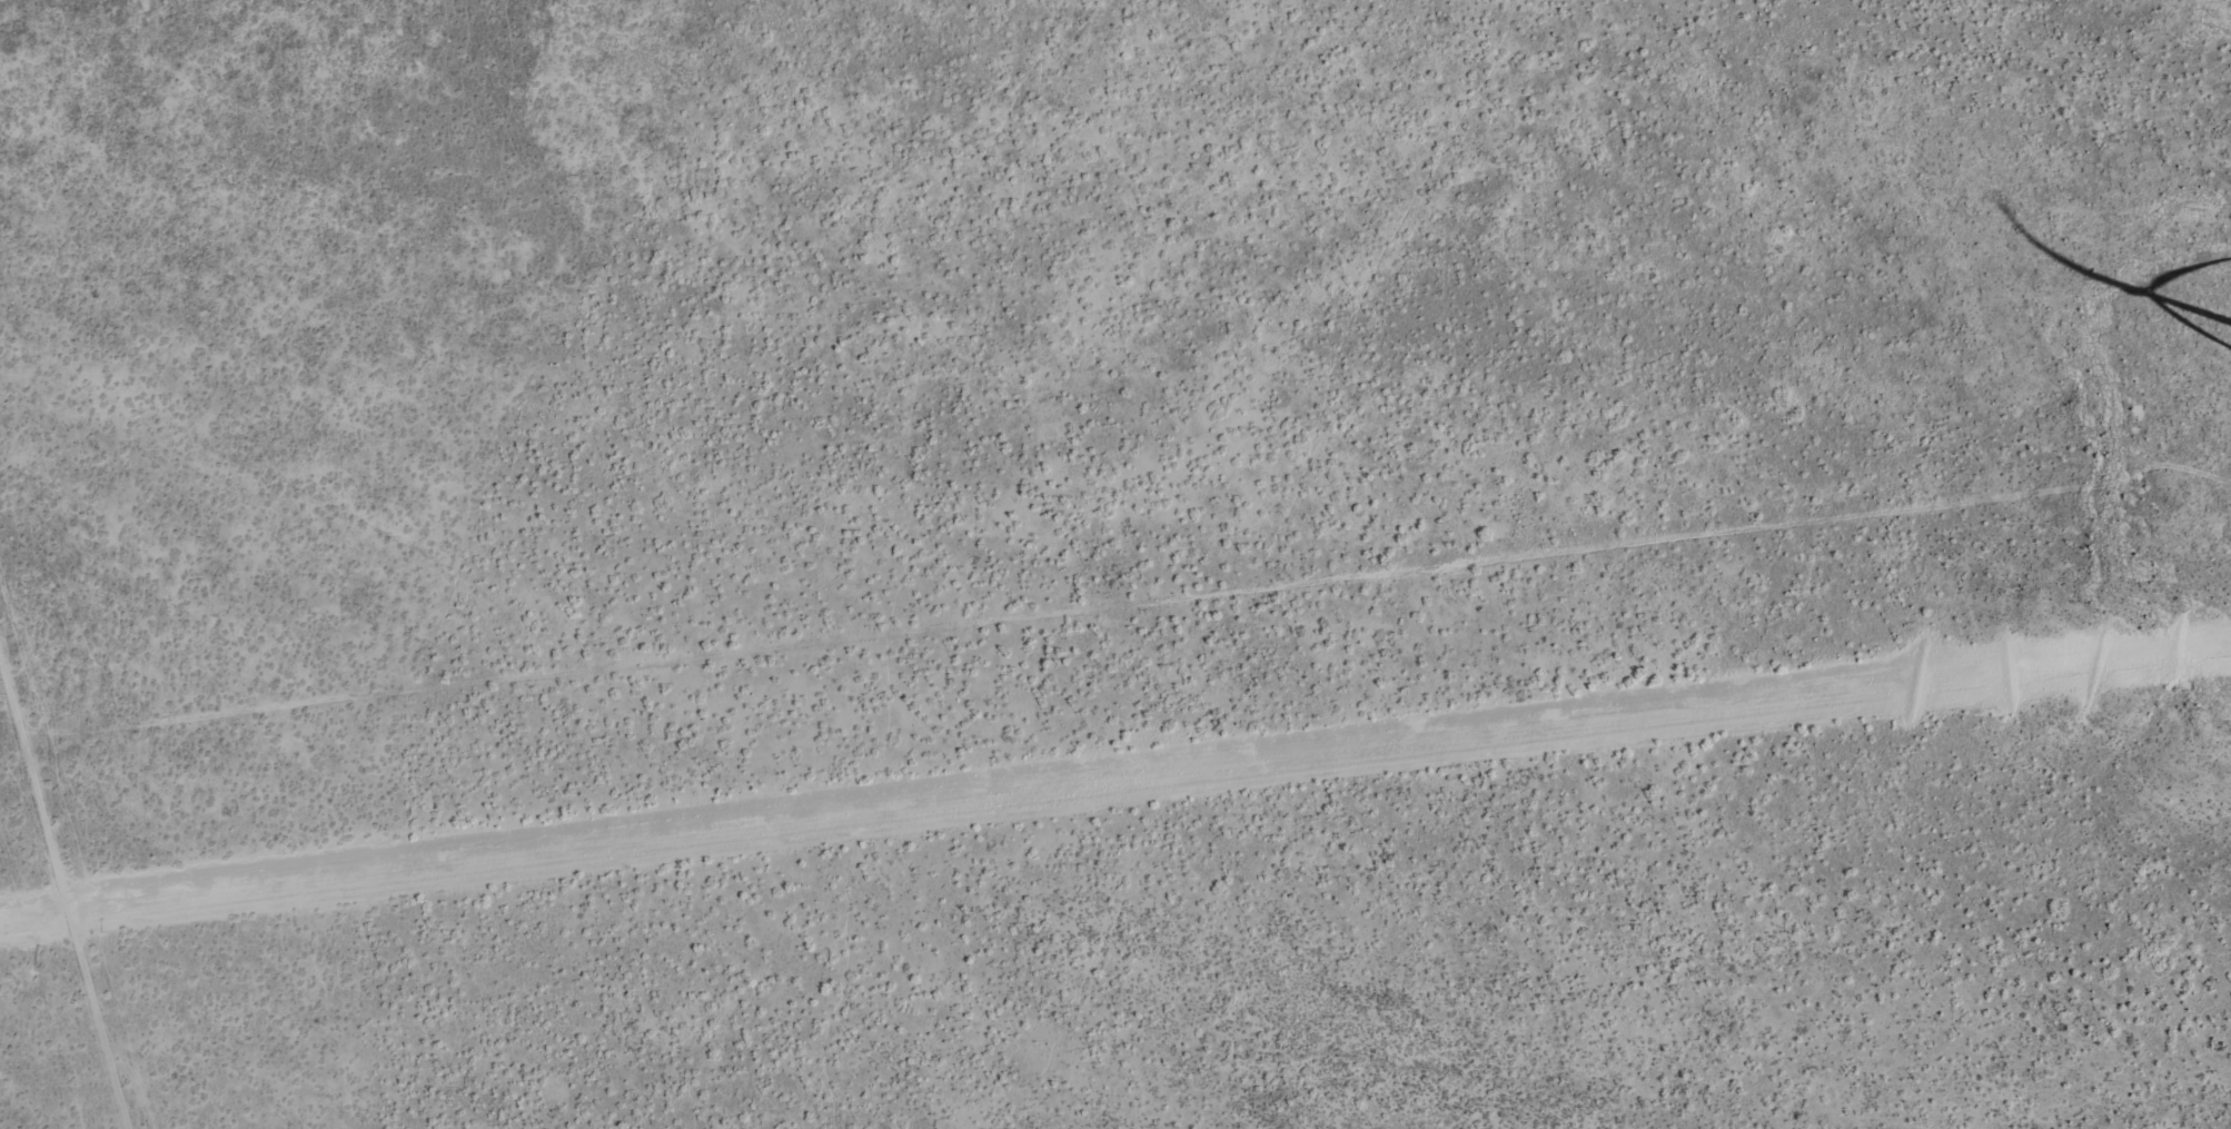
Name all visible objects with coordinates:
power tower: (32, 972)

